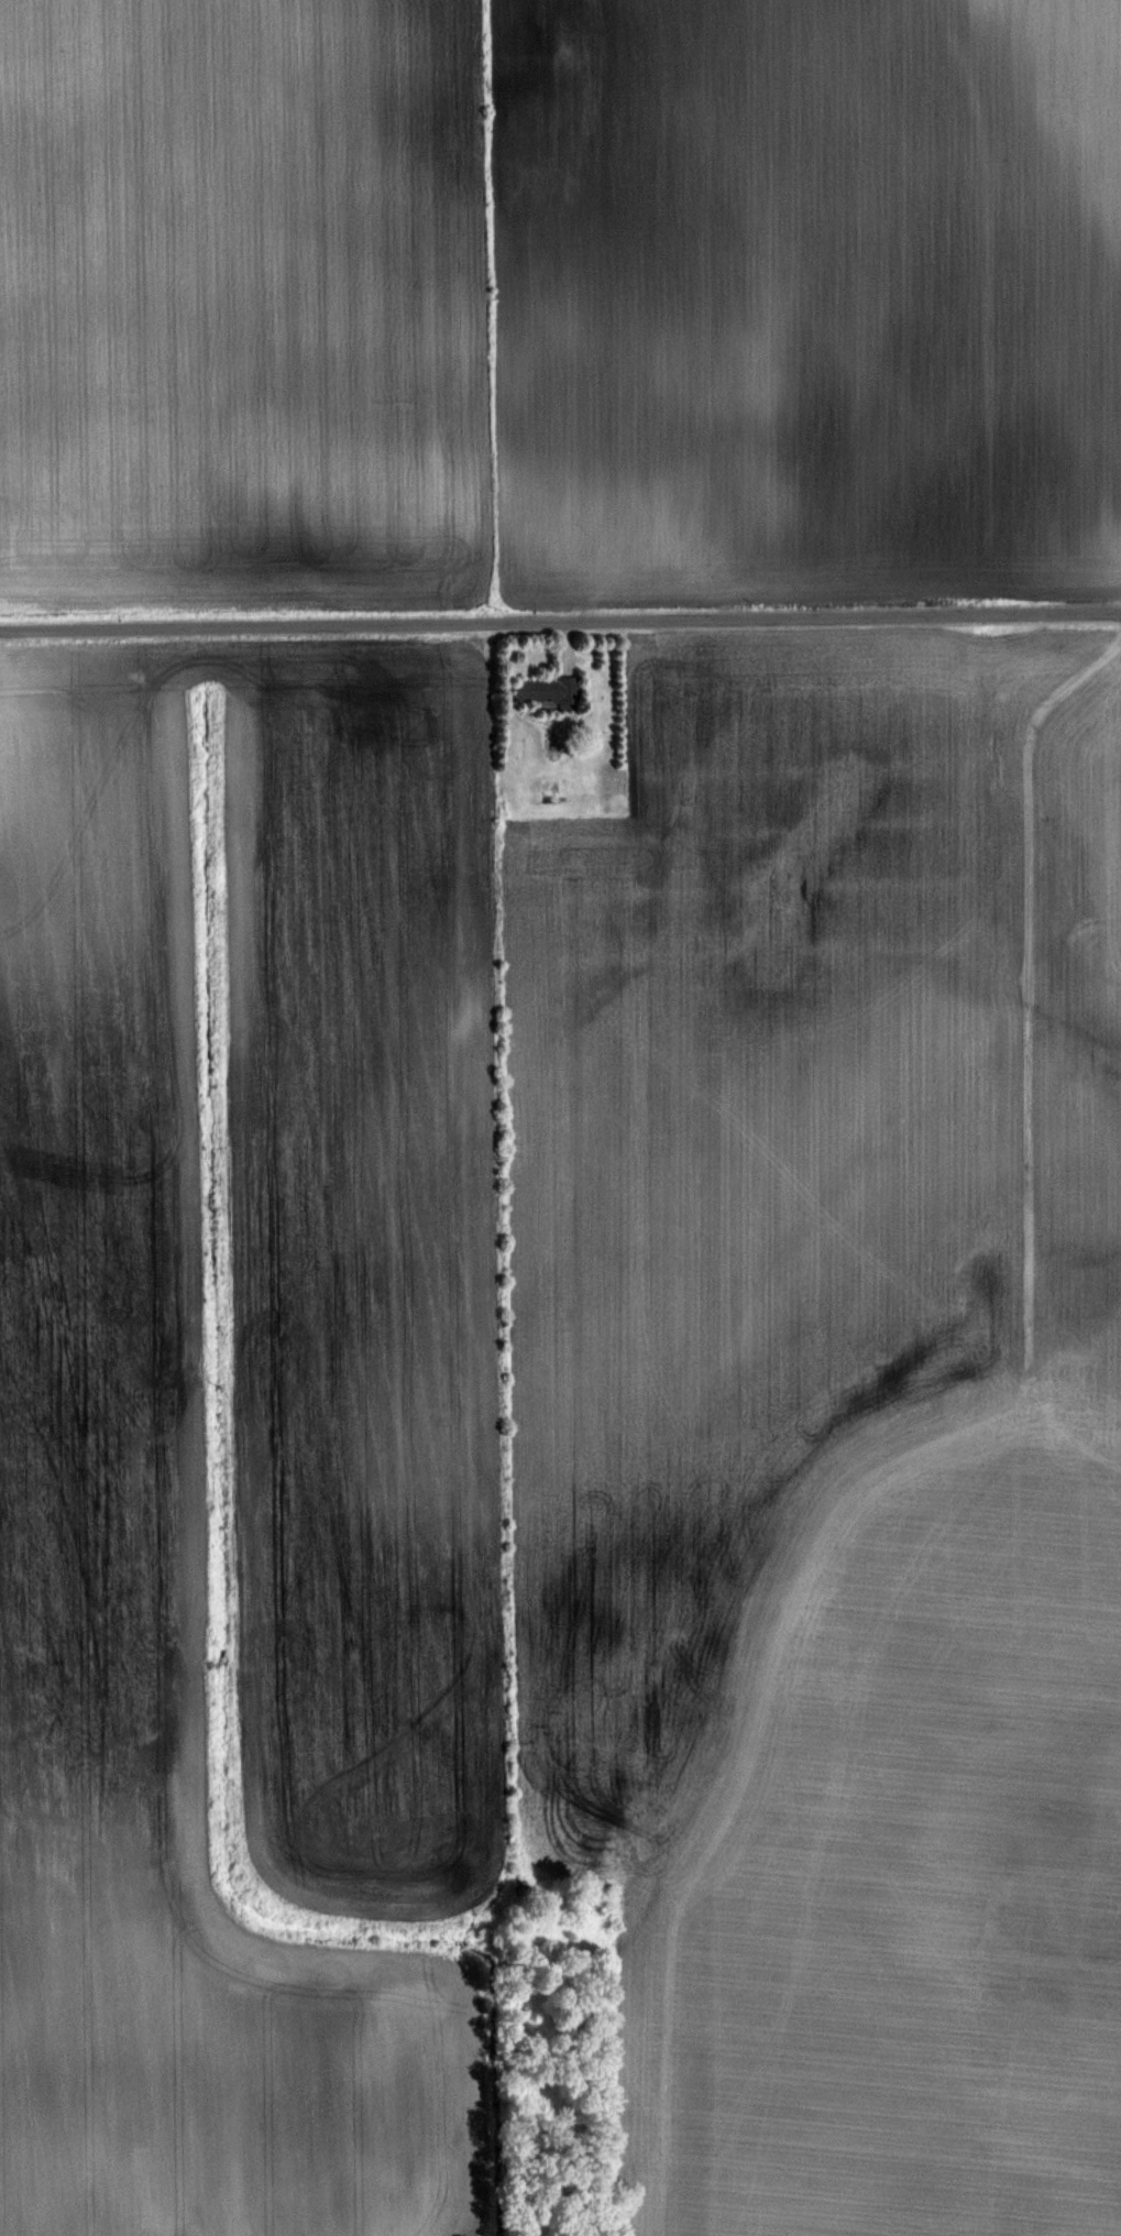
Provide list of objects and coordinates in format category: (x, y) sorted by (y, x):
road: (560, 621)
building: (543, 687)

